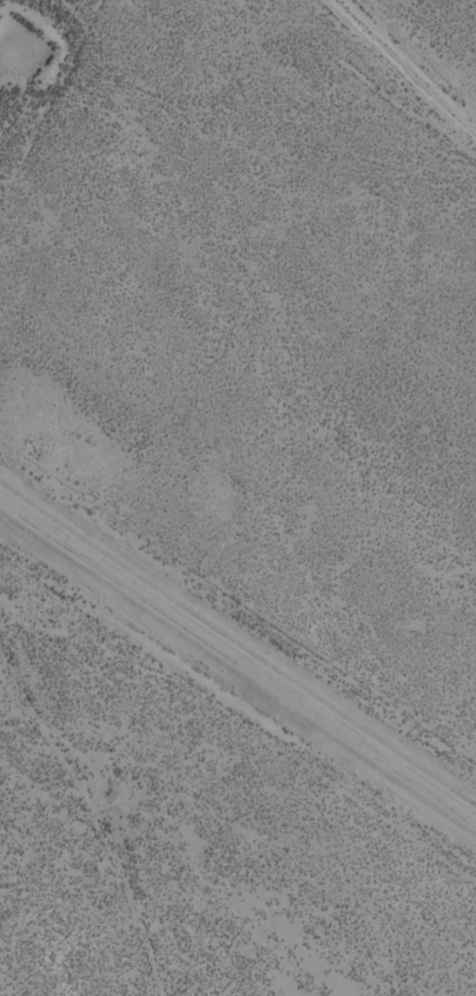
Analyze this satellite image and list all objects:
road: (405, 65)
road: (238, 668)

